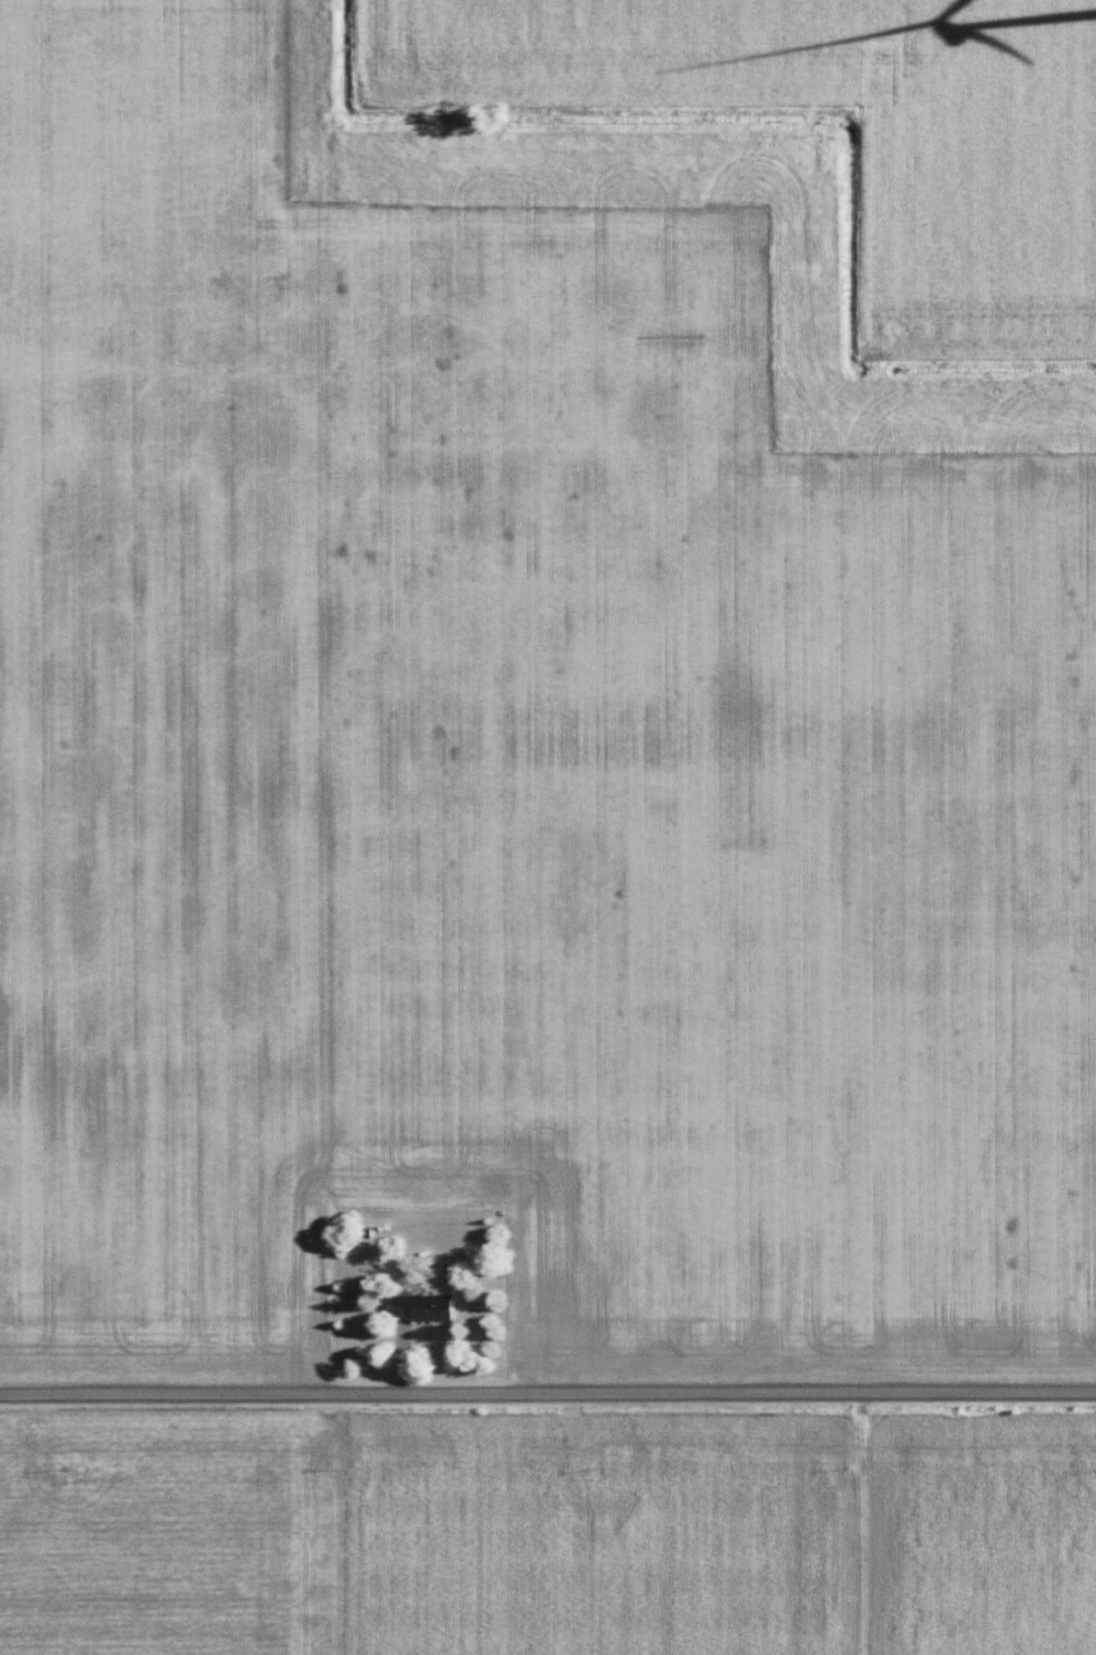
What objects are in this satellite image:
building: (418, 1307)
road: (547, 1397)

